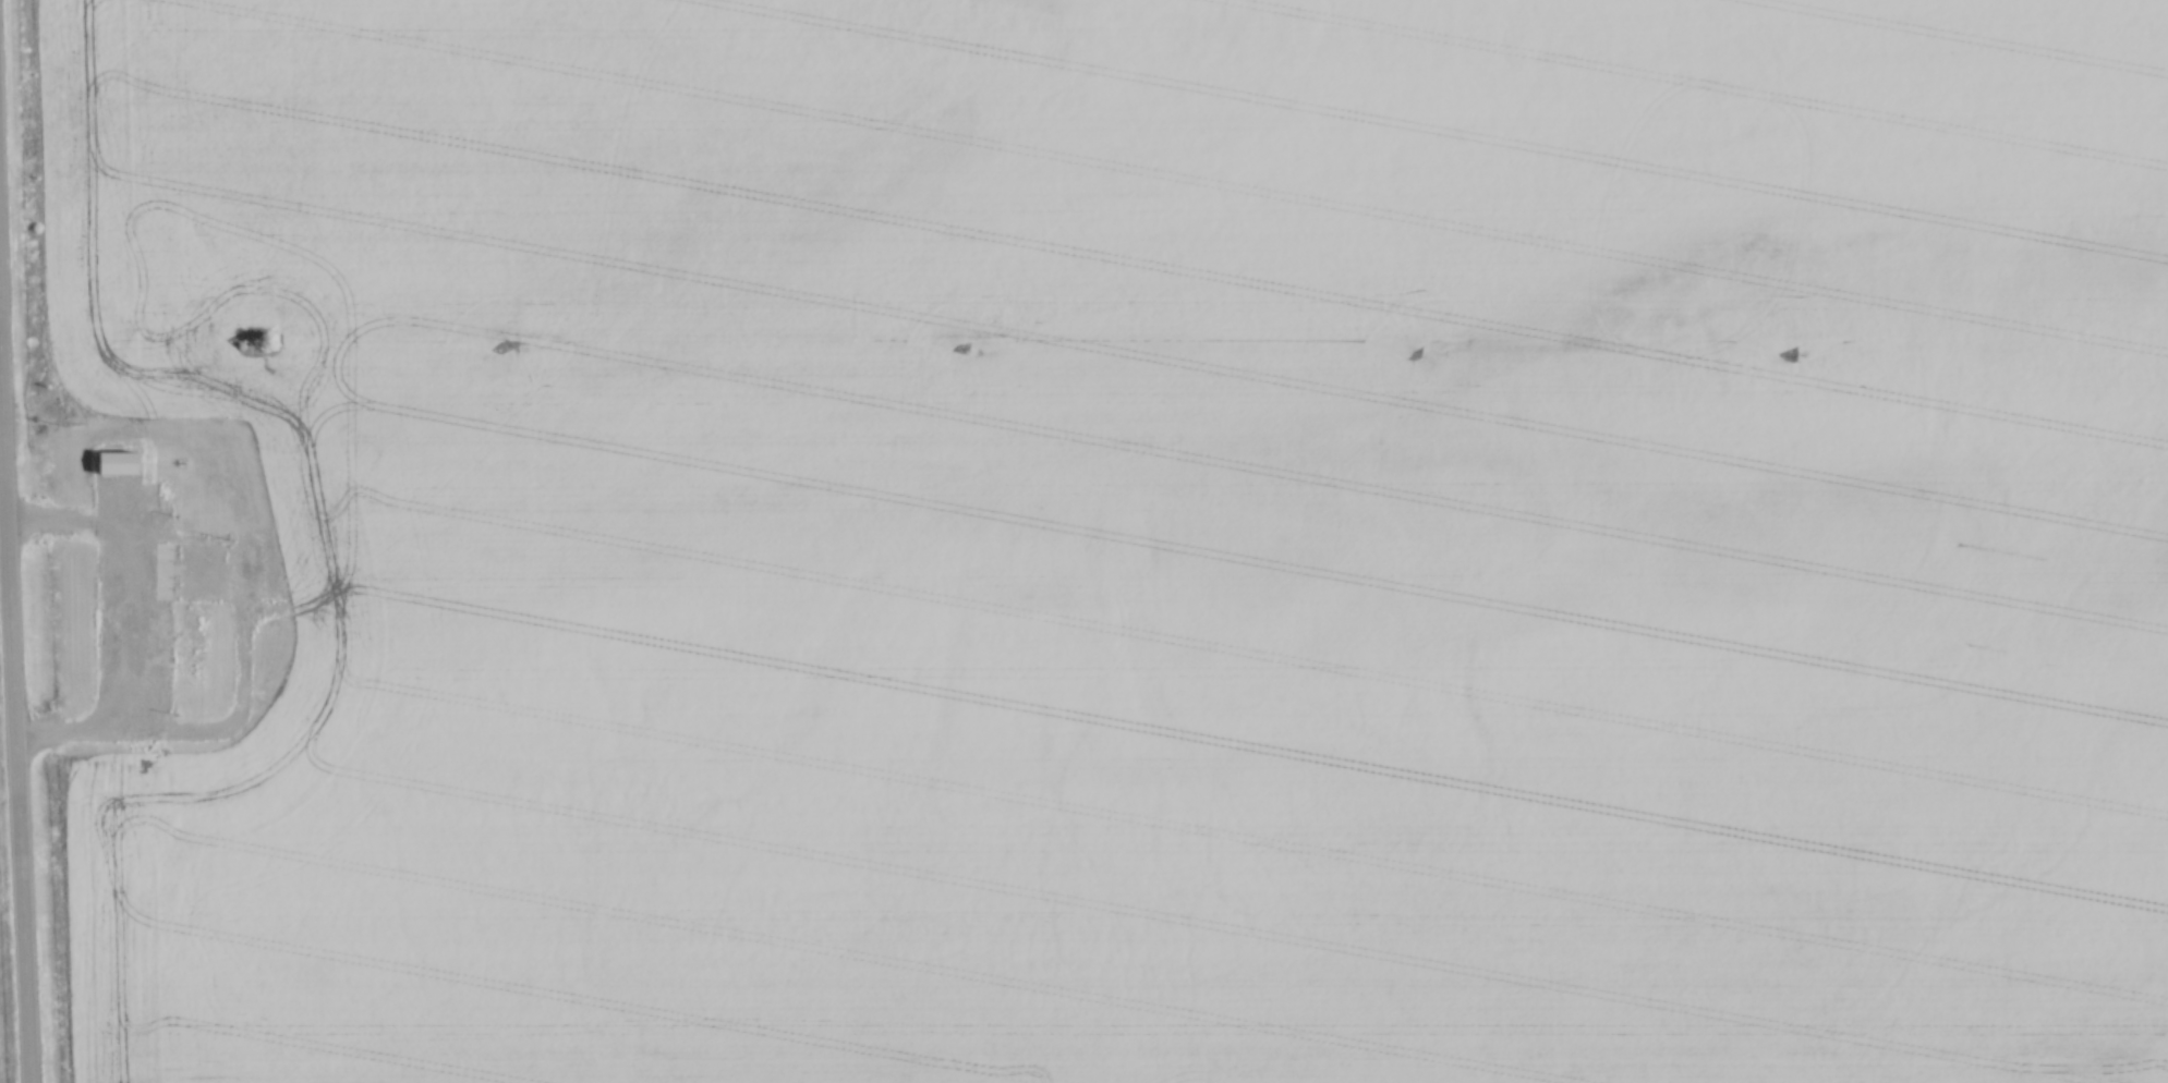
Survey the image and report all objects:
road: (13, 723)

